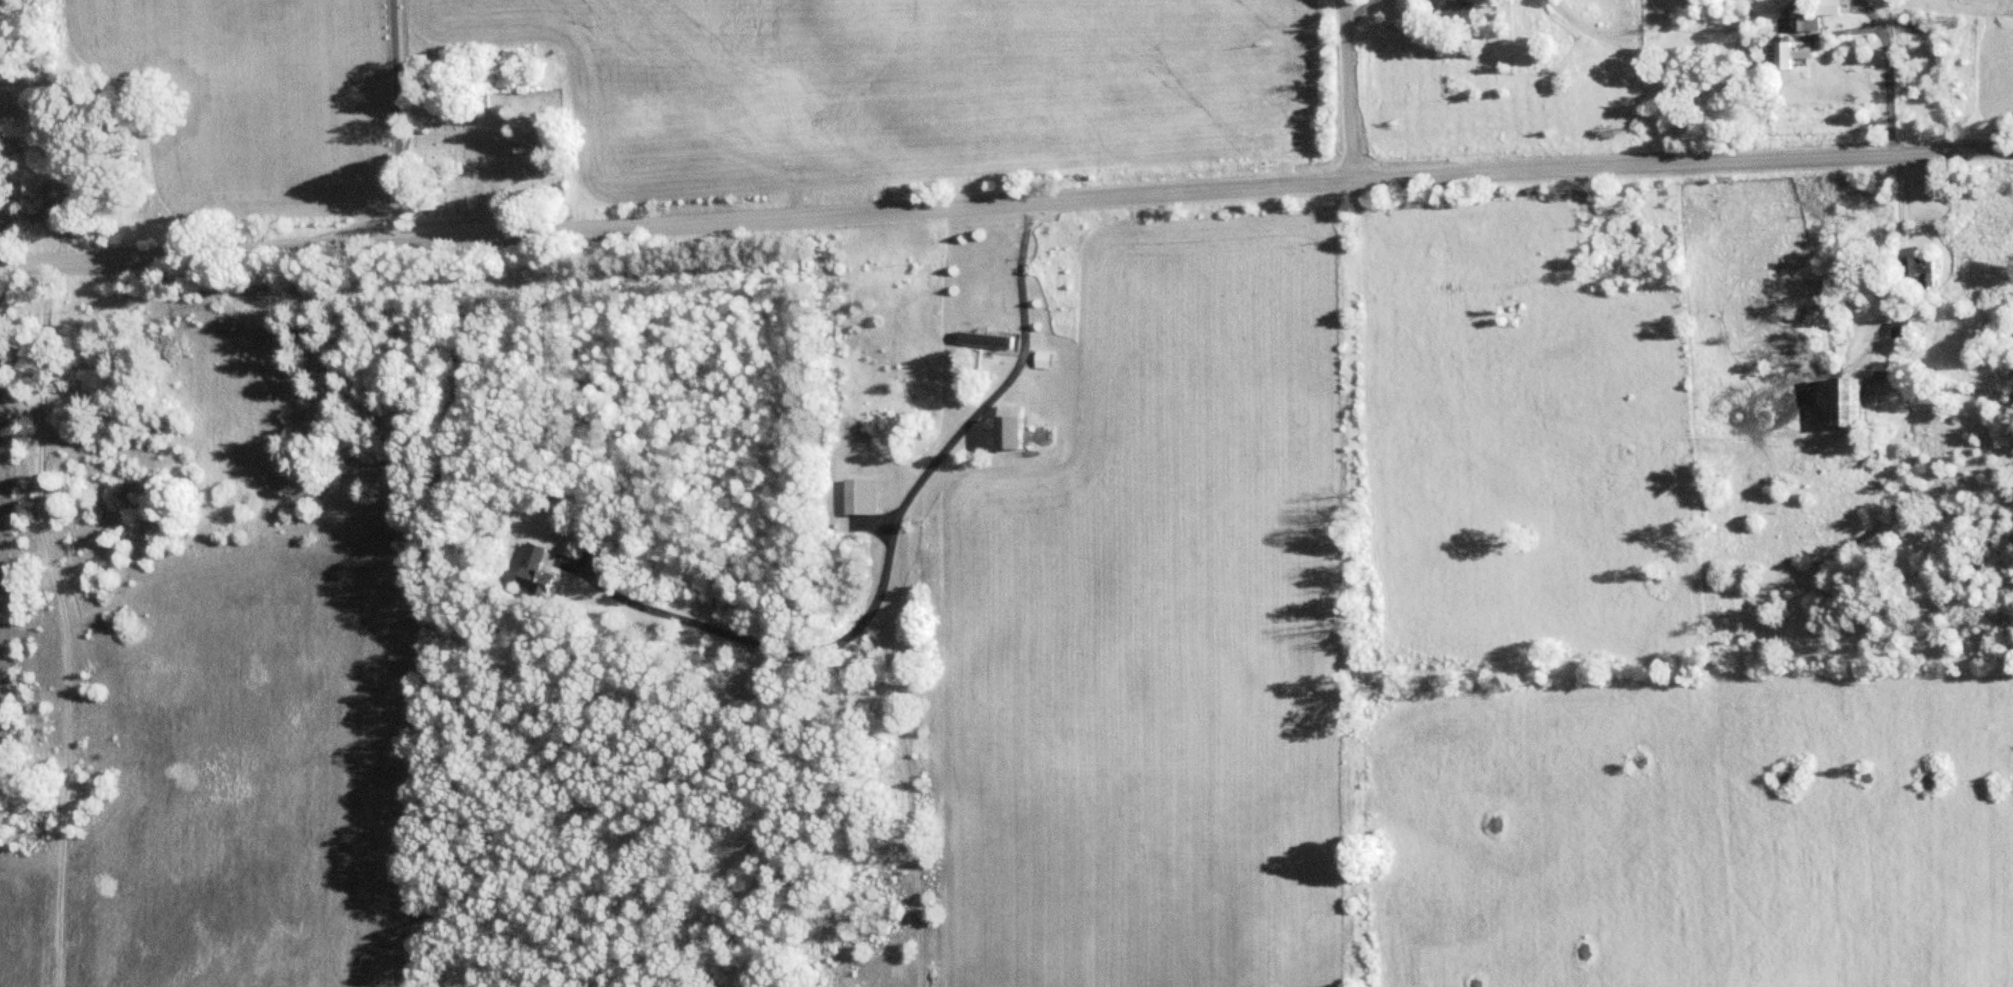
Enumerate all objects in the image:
crop: (2012, 4)
building: (1832, 7)
building: (1459, 10)
building: (1809, 24)
building: (1792, 55)
crop: (899, 86)
road: (1351, 91)
road: (1006, 204)
building: (1924, 272)
building: (1902, 328)
building: (990, 338)
building: (1853, 403)
building: (1016, 428)
building: (861, 497)
building: (536, 570)
crop: (1694, 836)

